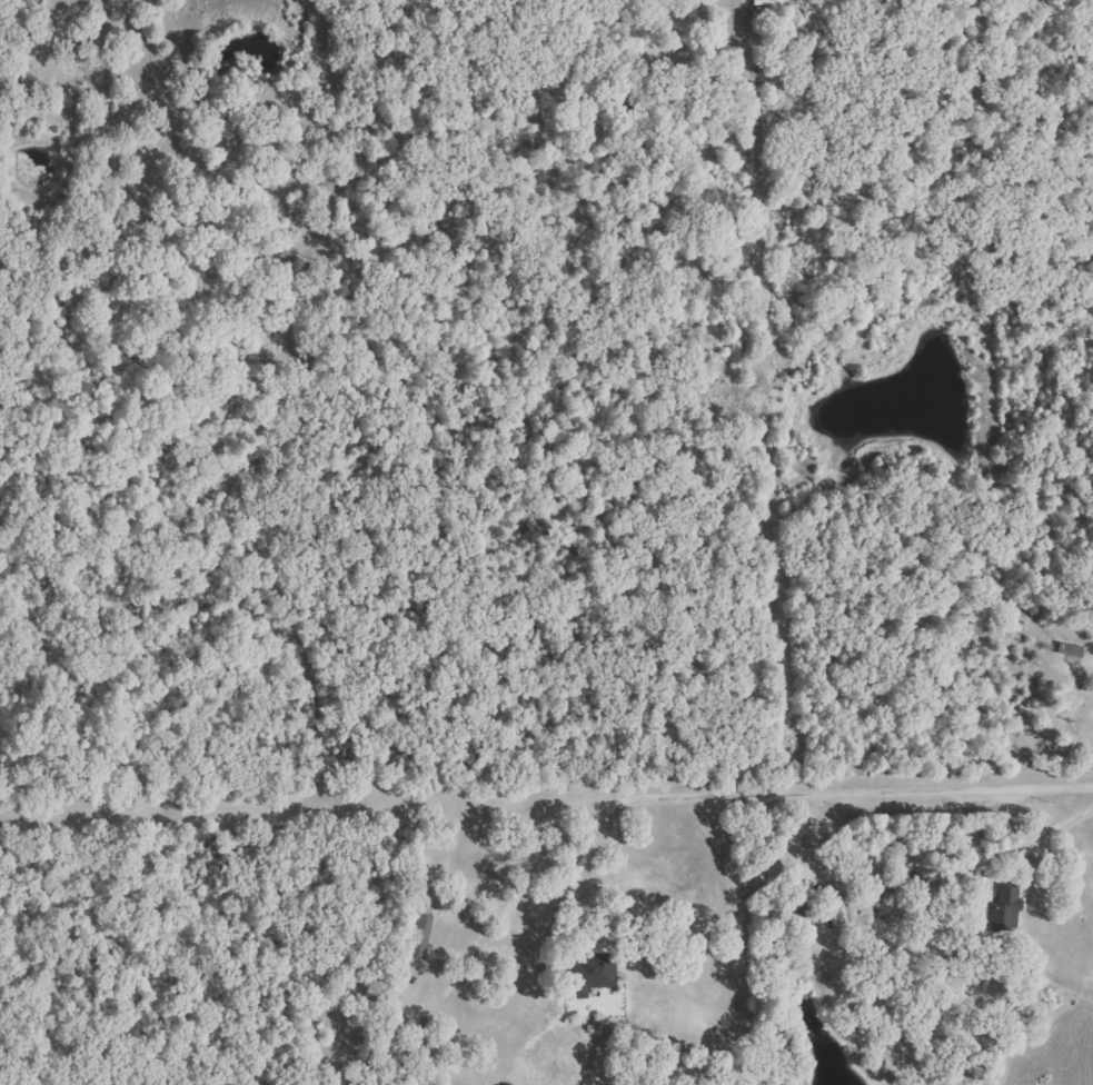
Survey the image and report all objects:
building: (1072, 649)
road: (827, 800)
building: (1008, 907)
building: (423, 936)
building: (595, 975)

